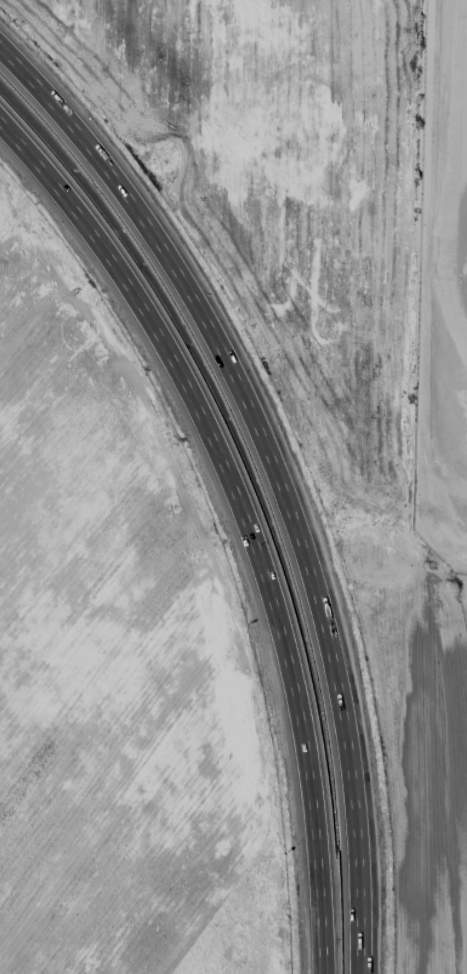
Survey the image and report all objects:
road: (422, 271)
road: (277, 476)
road: (249, 512)
road: (442, 547)

